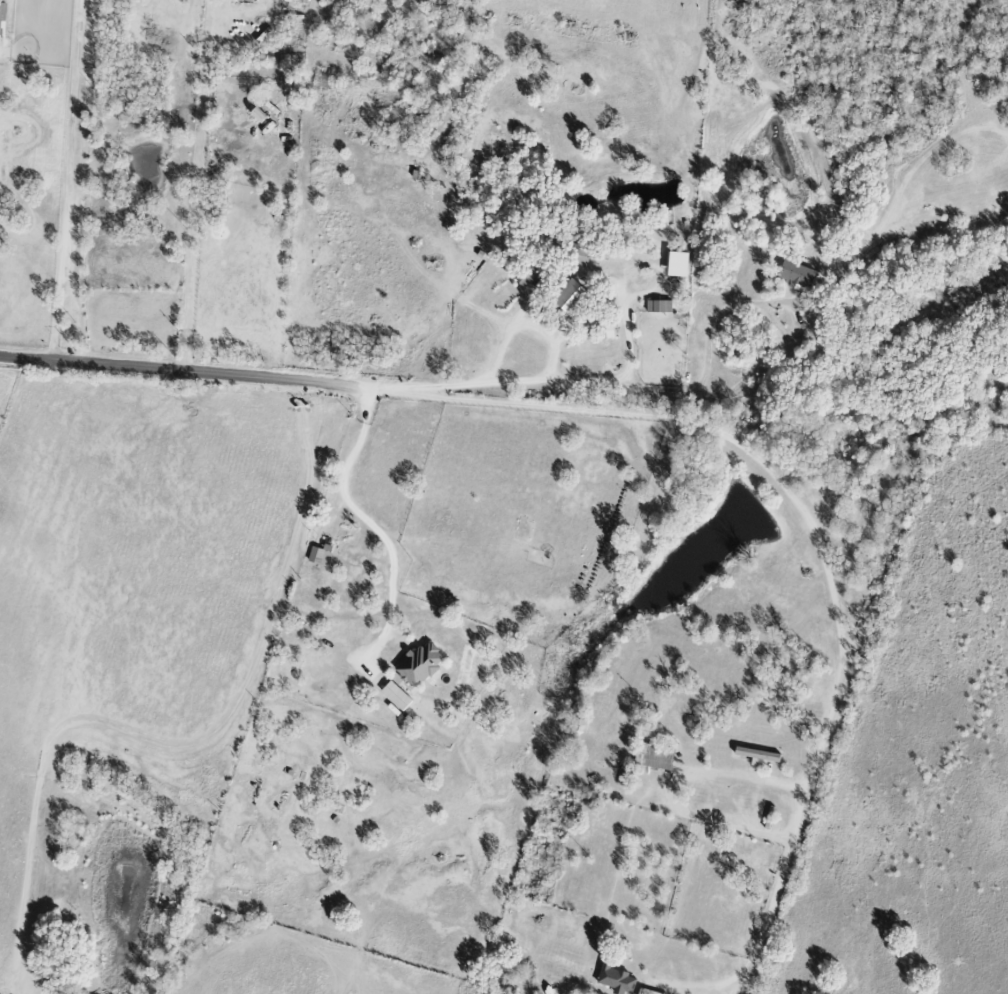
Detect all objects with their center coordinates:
building: (3, 15)
road: (64, 180)
road: (83, 182)
road: (193, 185)
building: (679, 264)
building: (800, 274)
building: (571, 296)
building: (660, 306)
road: (523, 323)
road: (175, 370)
road: (527, 380)
road: (370, 526)
road: (815, 539)
building: (323, 553)
building: (422, 664)
building: (397, 696)
road: (188, 746)
building: (655, 756)
building: (621, 981)

